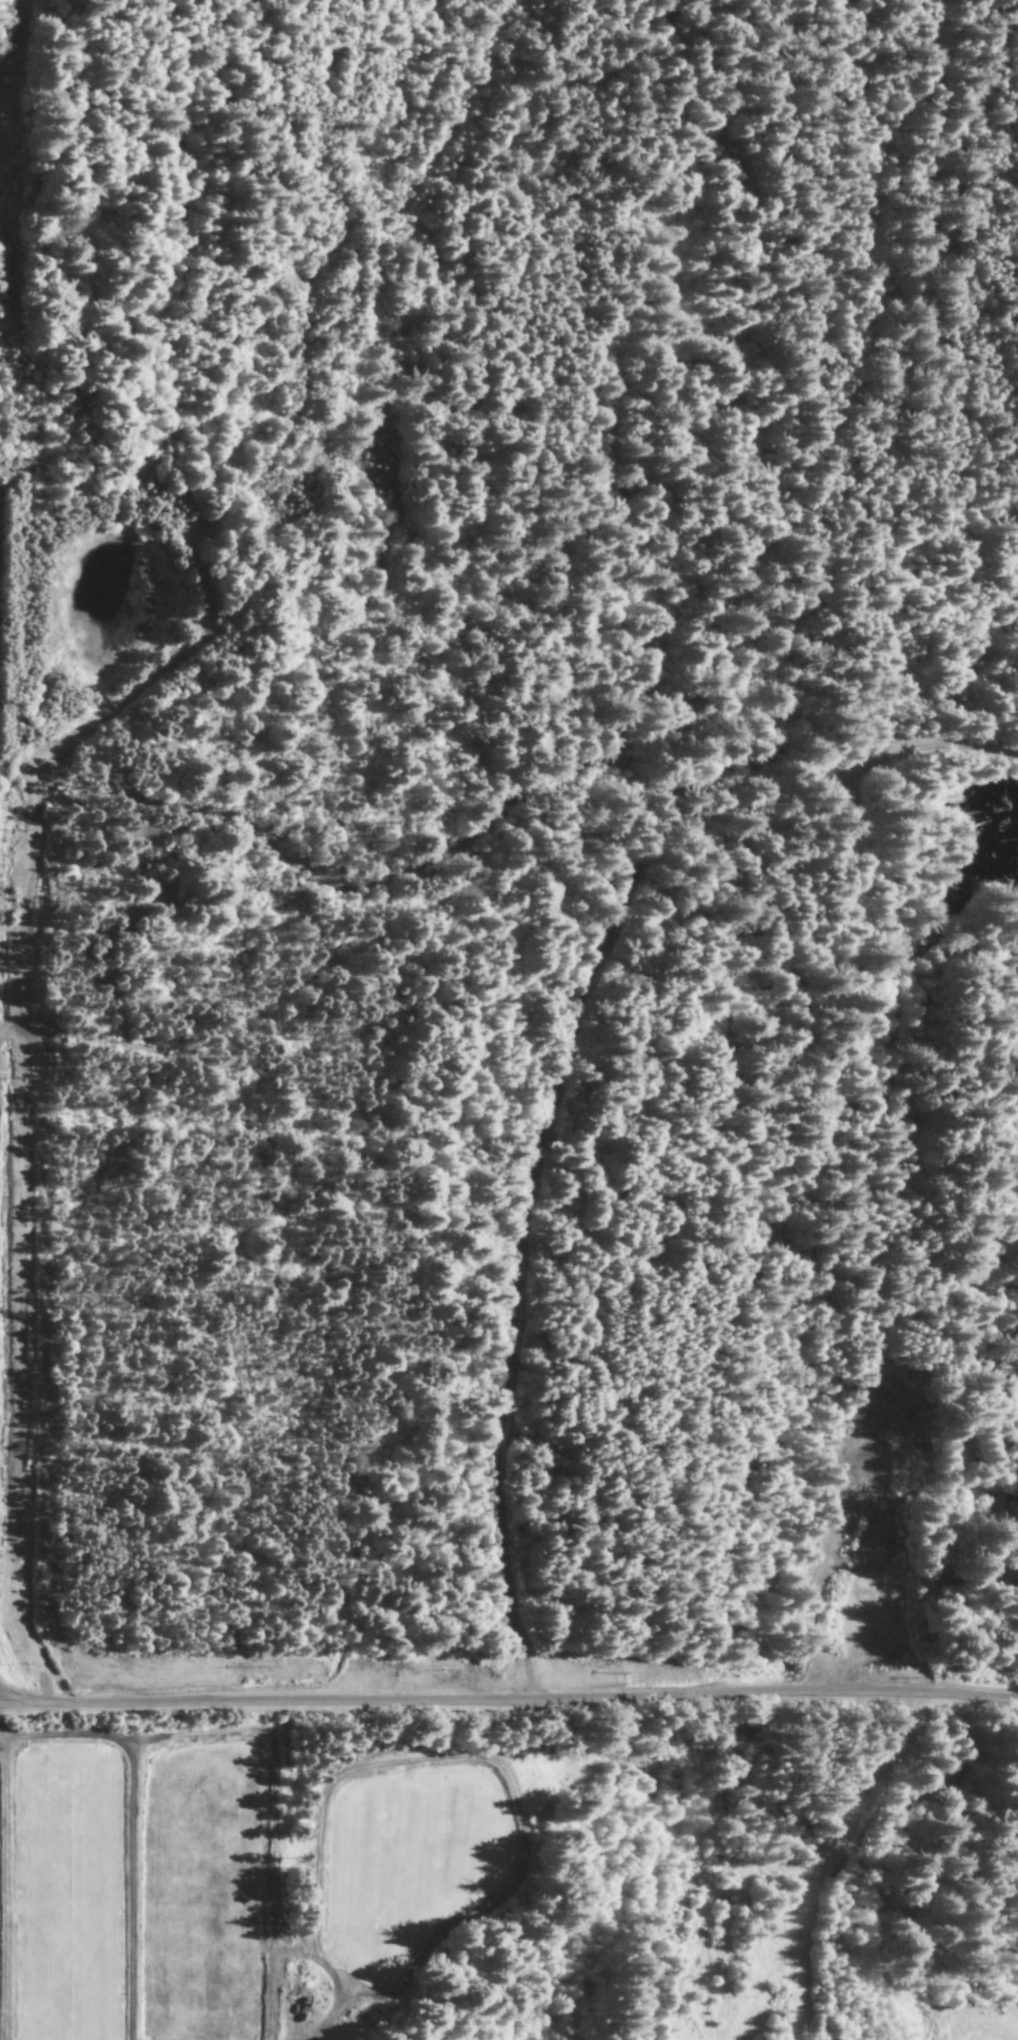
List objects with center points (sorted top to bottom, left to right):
crop: (411, 1862)
crop: (199, 1893)
crop: (65, 1896)

